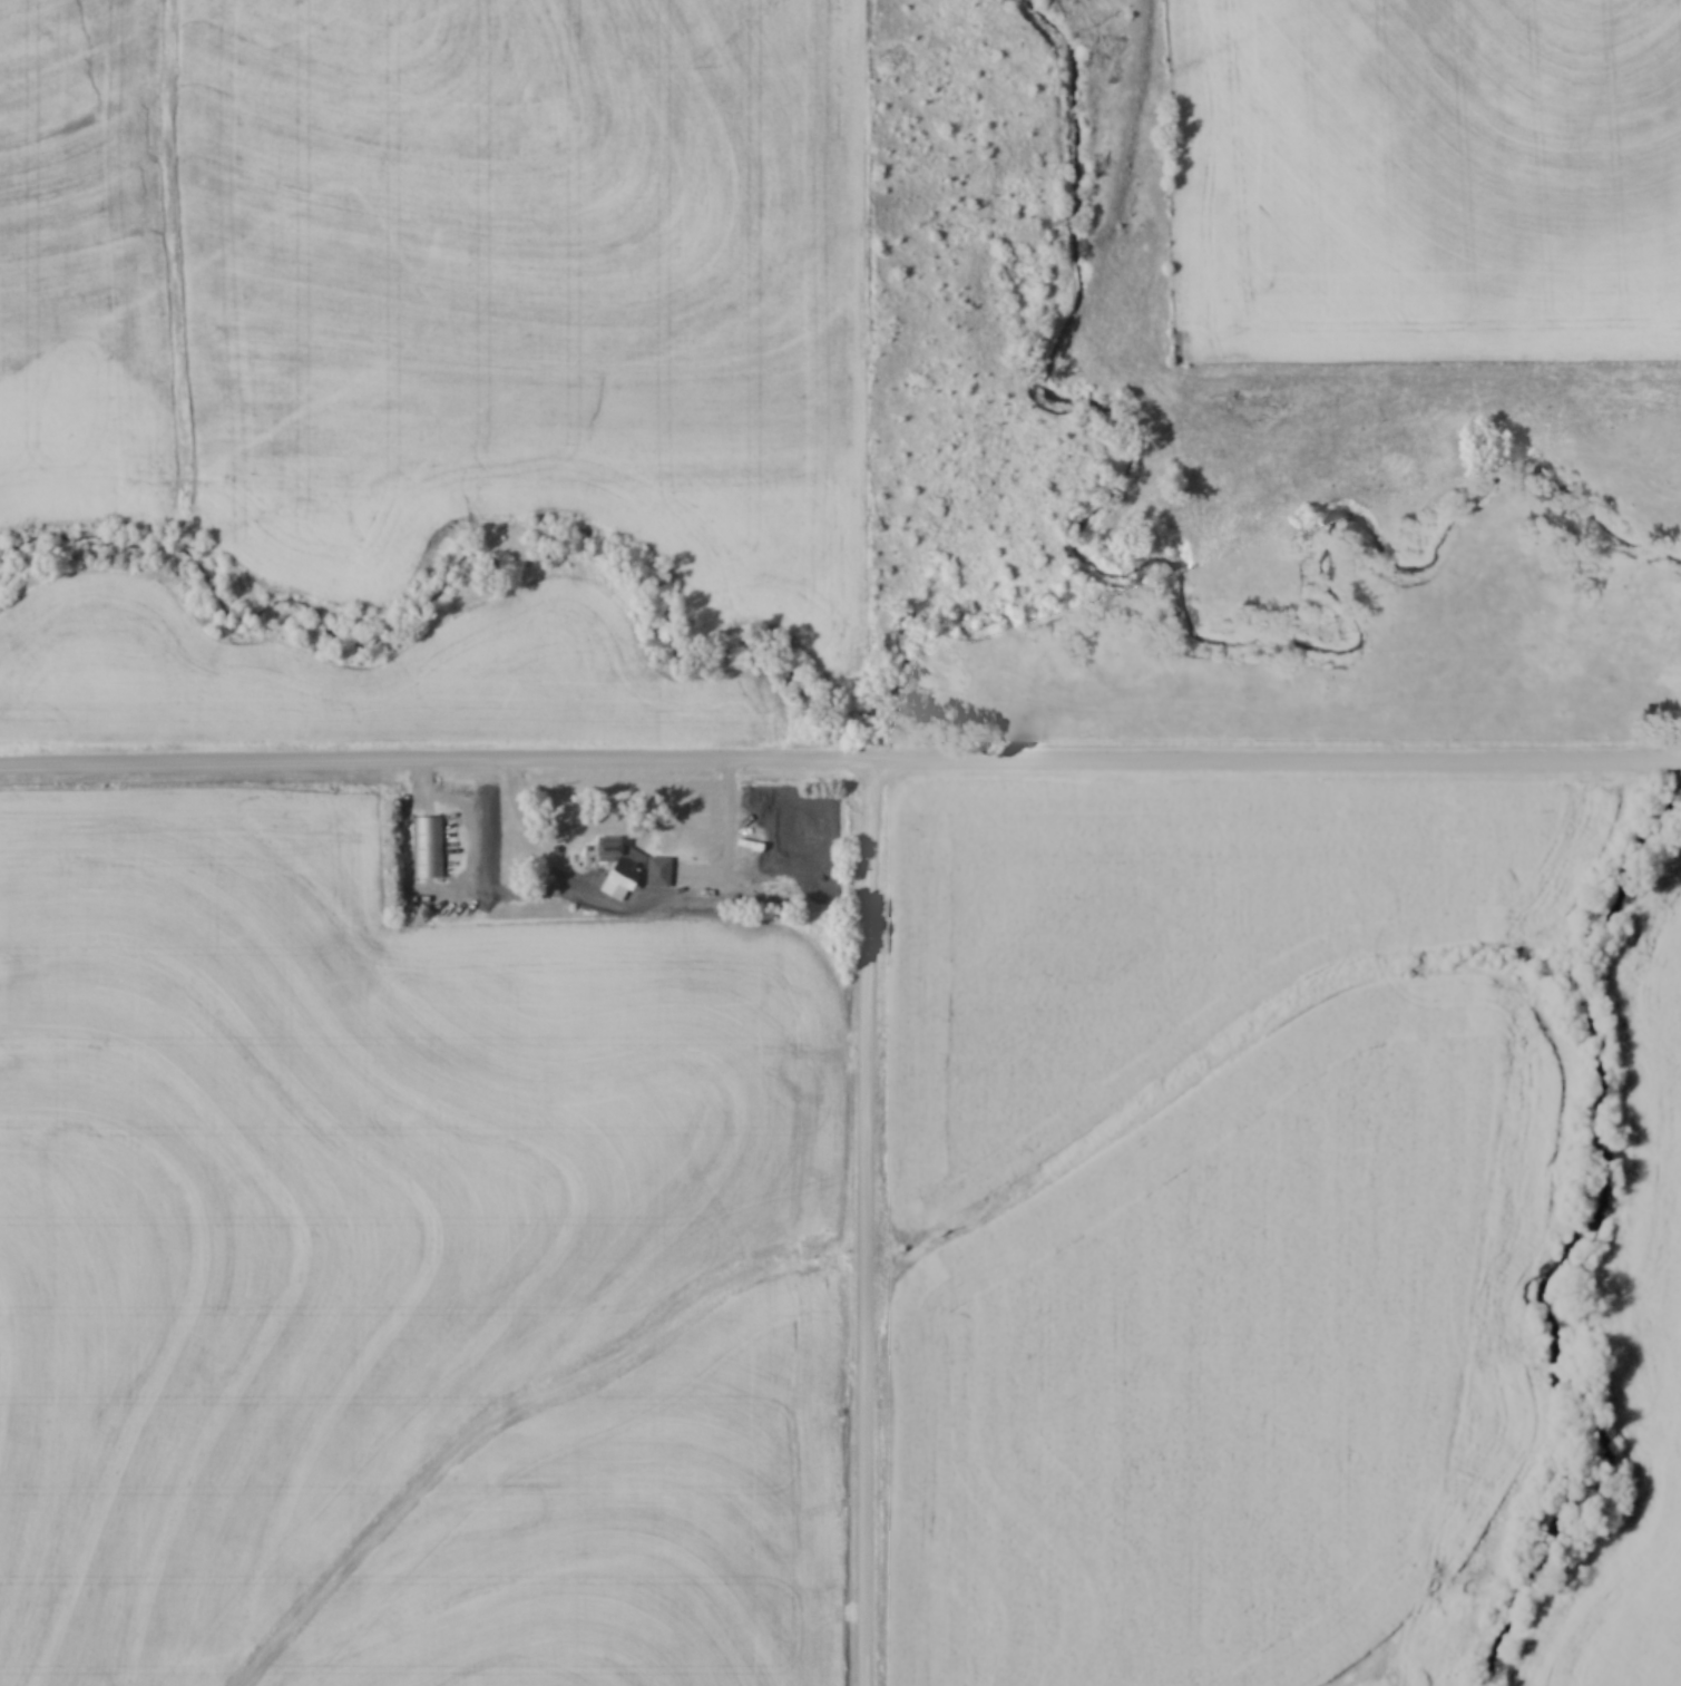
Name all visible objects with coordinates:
road: (840, 763)
building: (427, 848)
road: (642, 888)
road: (871, 1225)

